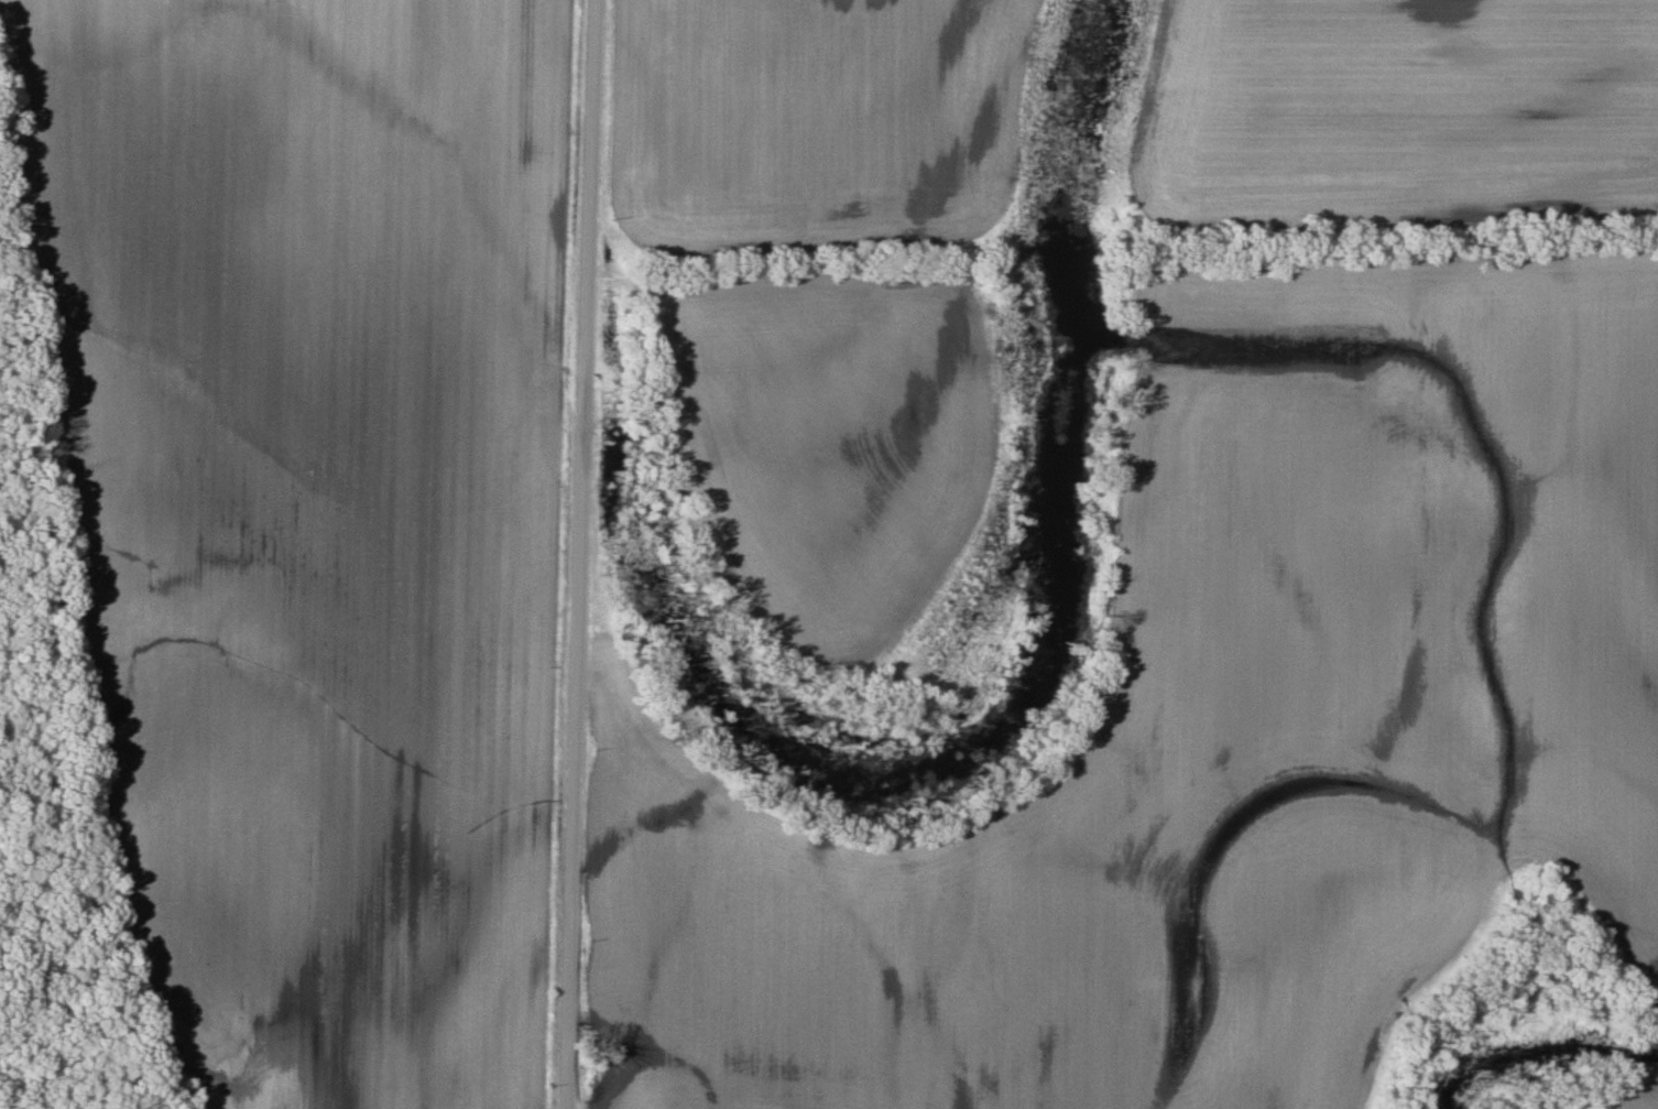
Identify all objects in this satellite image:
road: (582, 554)

